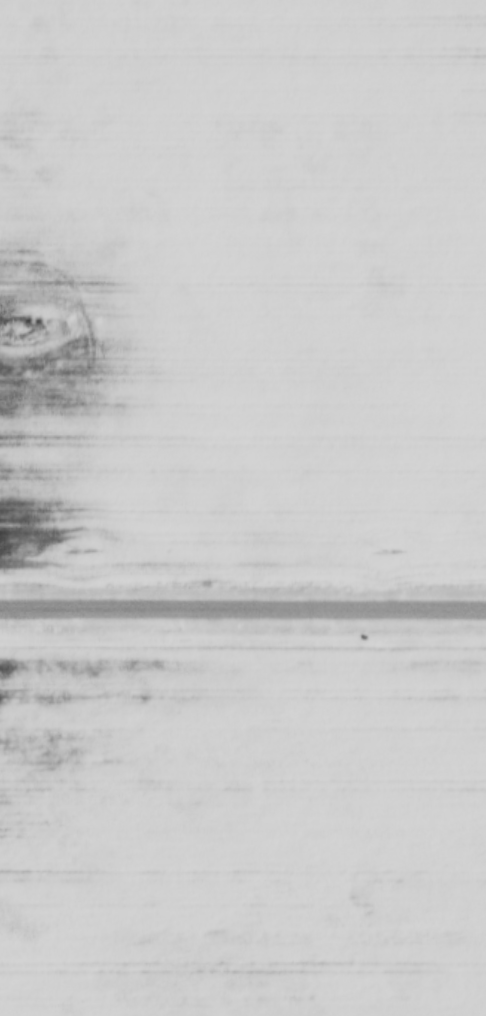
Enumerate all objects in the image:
road: (243, 604)

